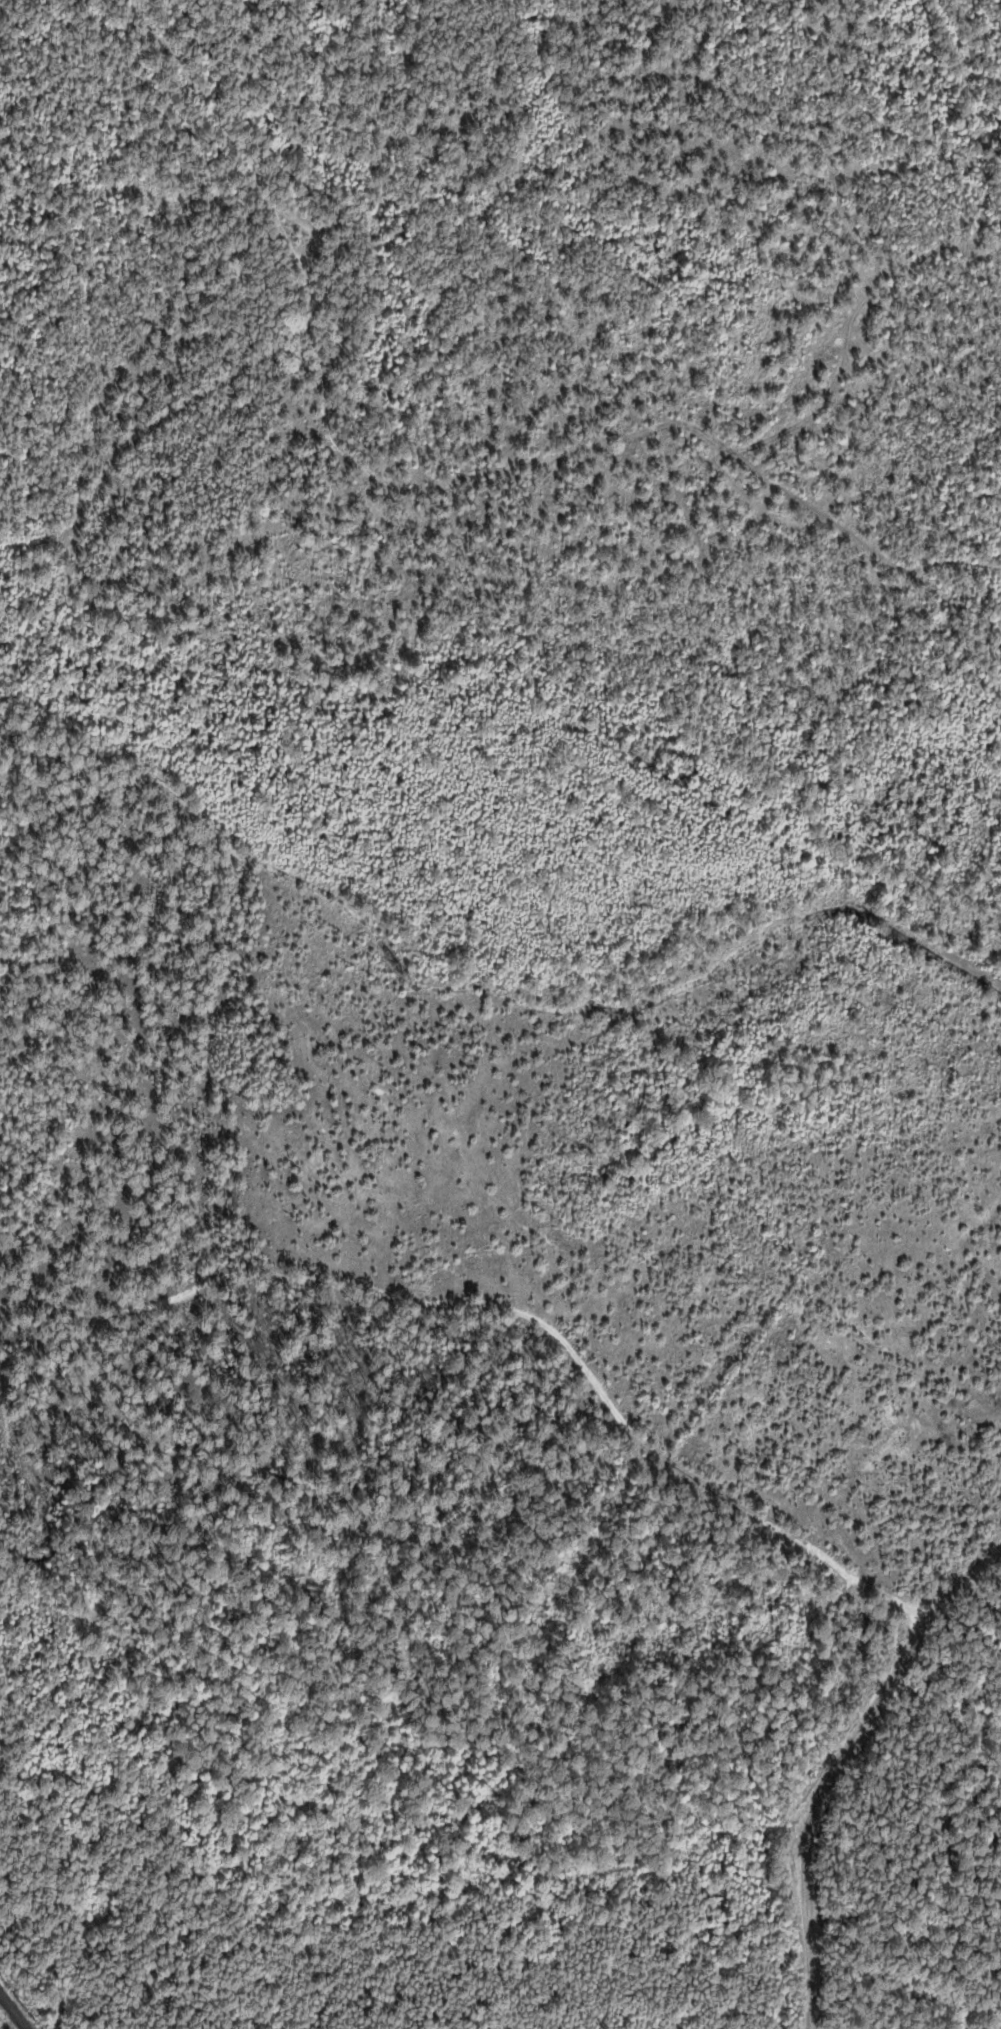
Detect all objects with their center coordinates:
road: (671, 1460)

